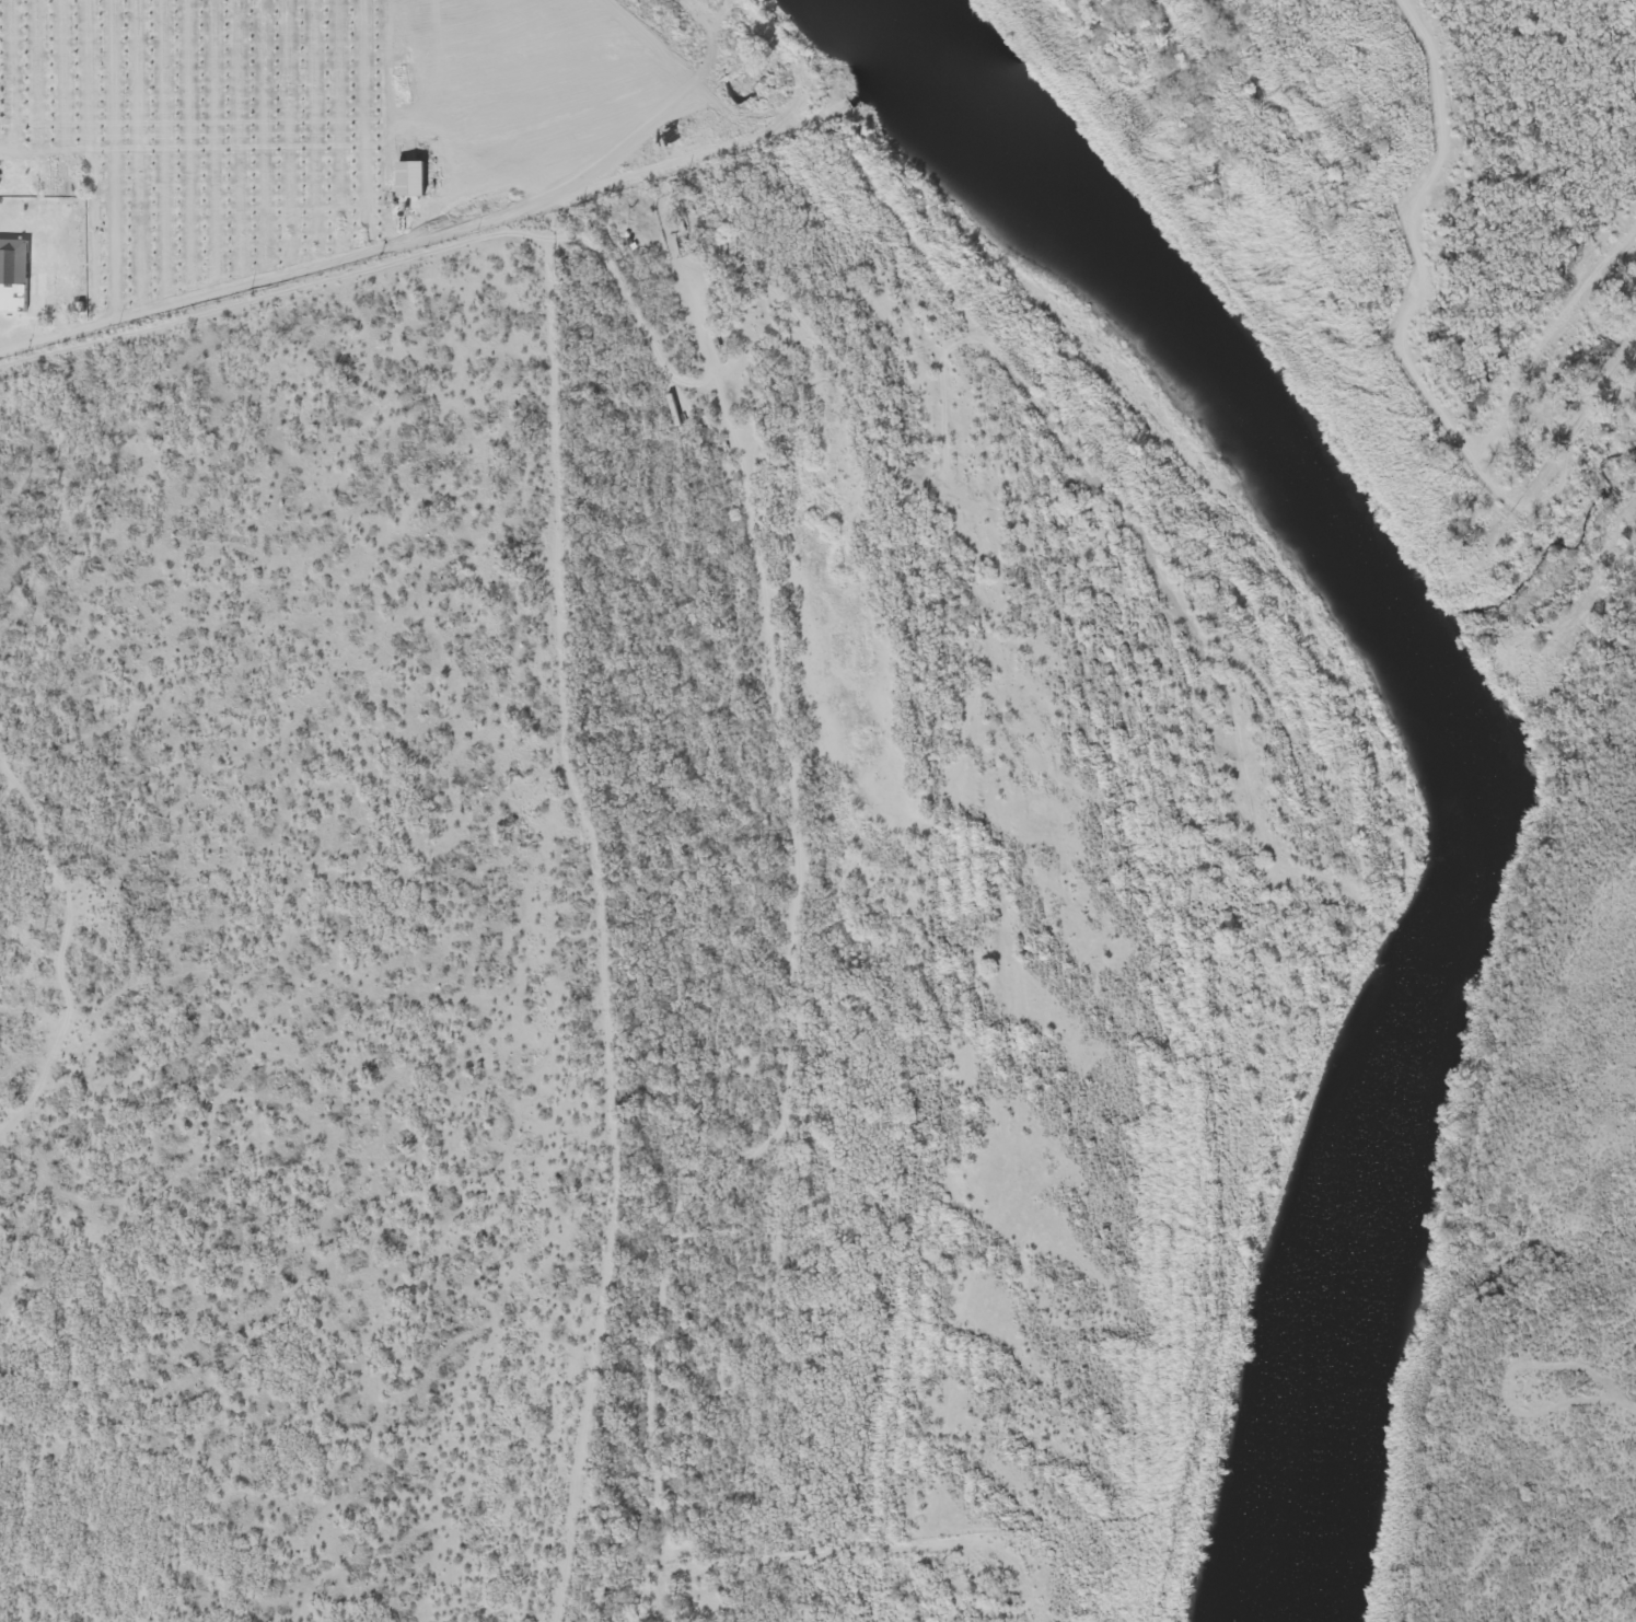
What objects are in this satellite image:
river: (1442, 730)
road: (1580, 1405)

